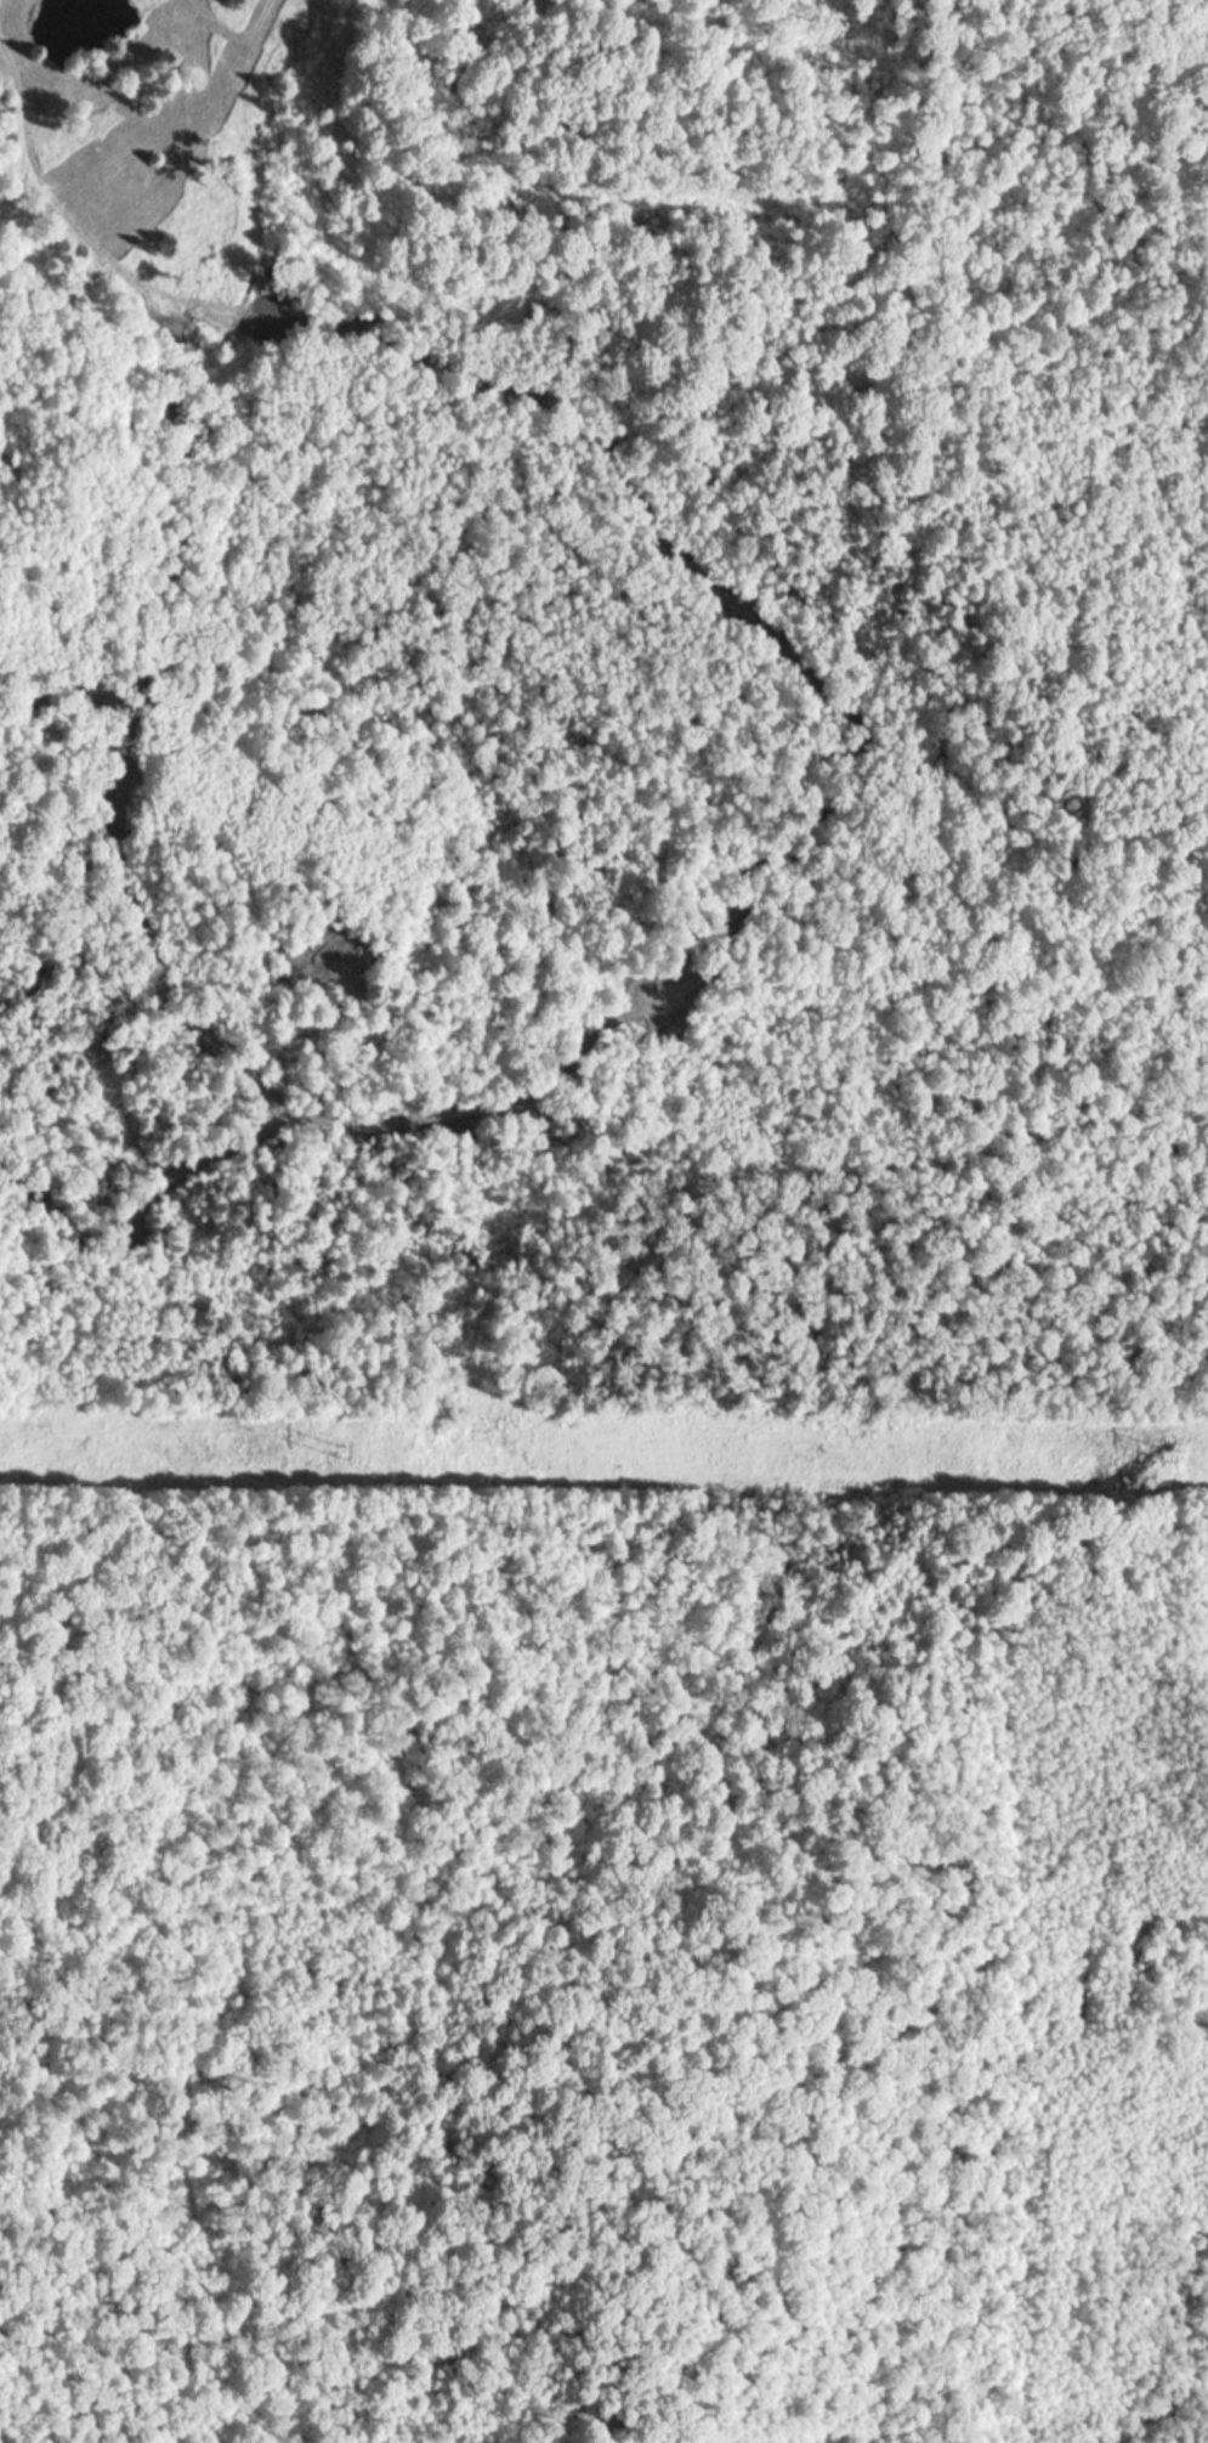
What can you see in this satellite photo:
power tower: (340, 1452)
power tower: (1167, 1457)

